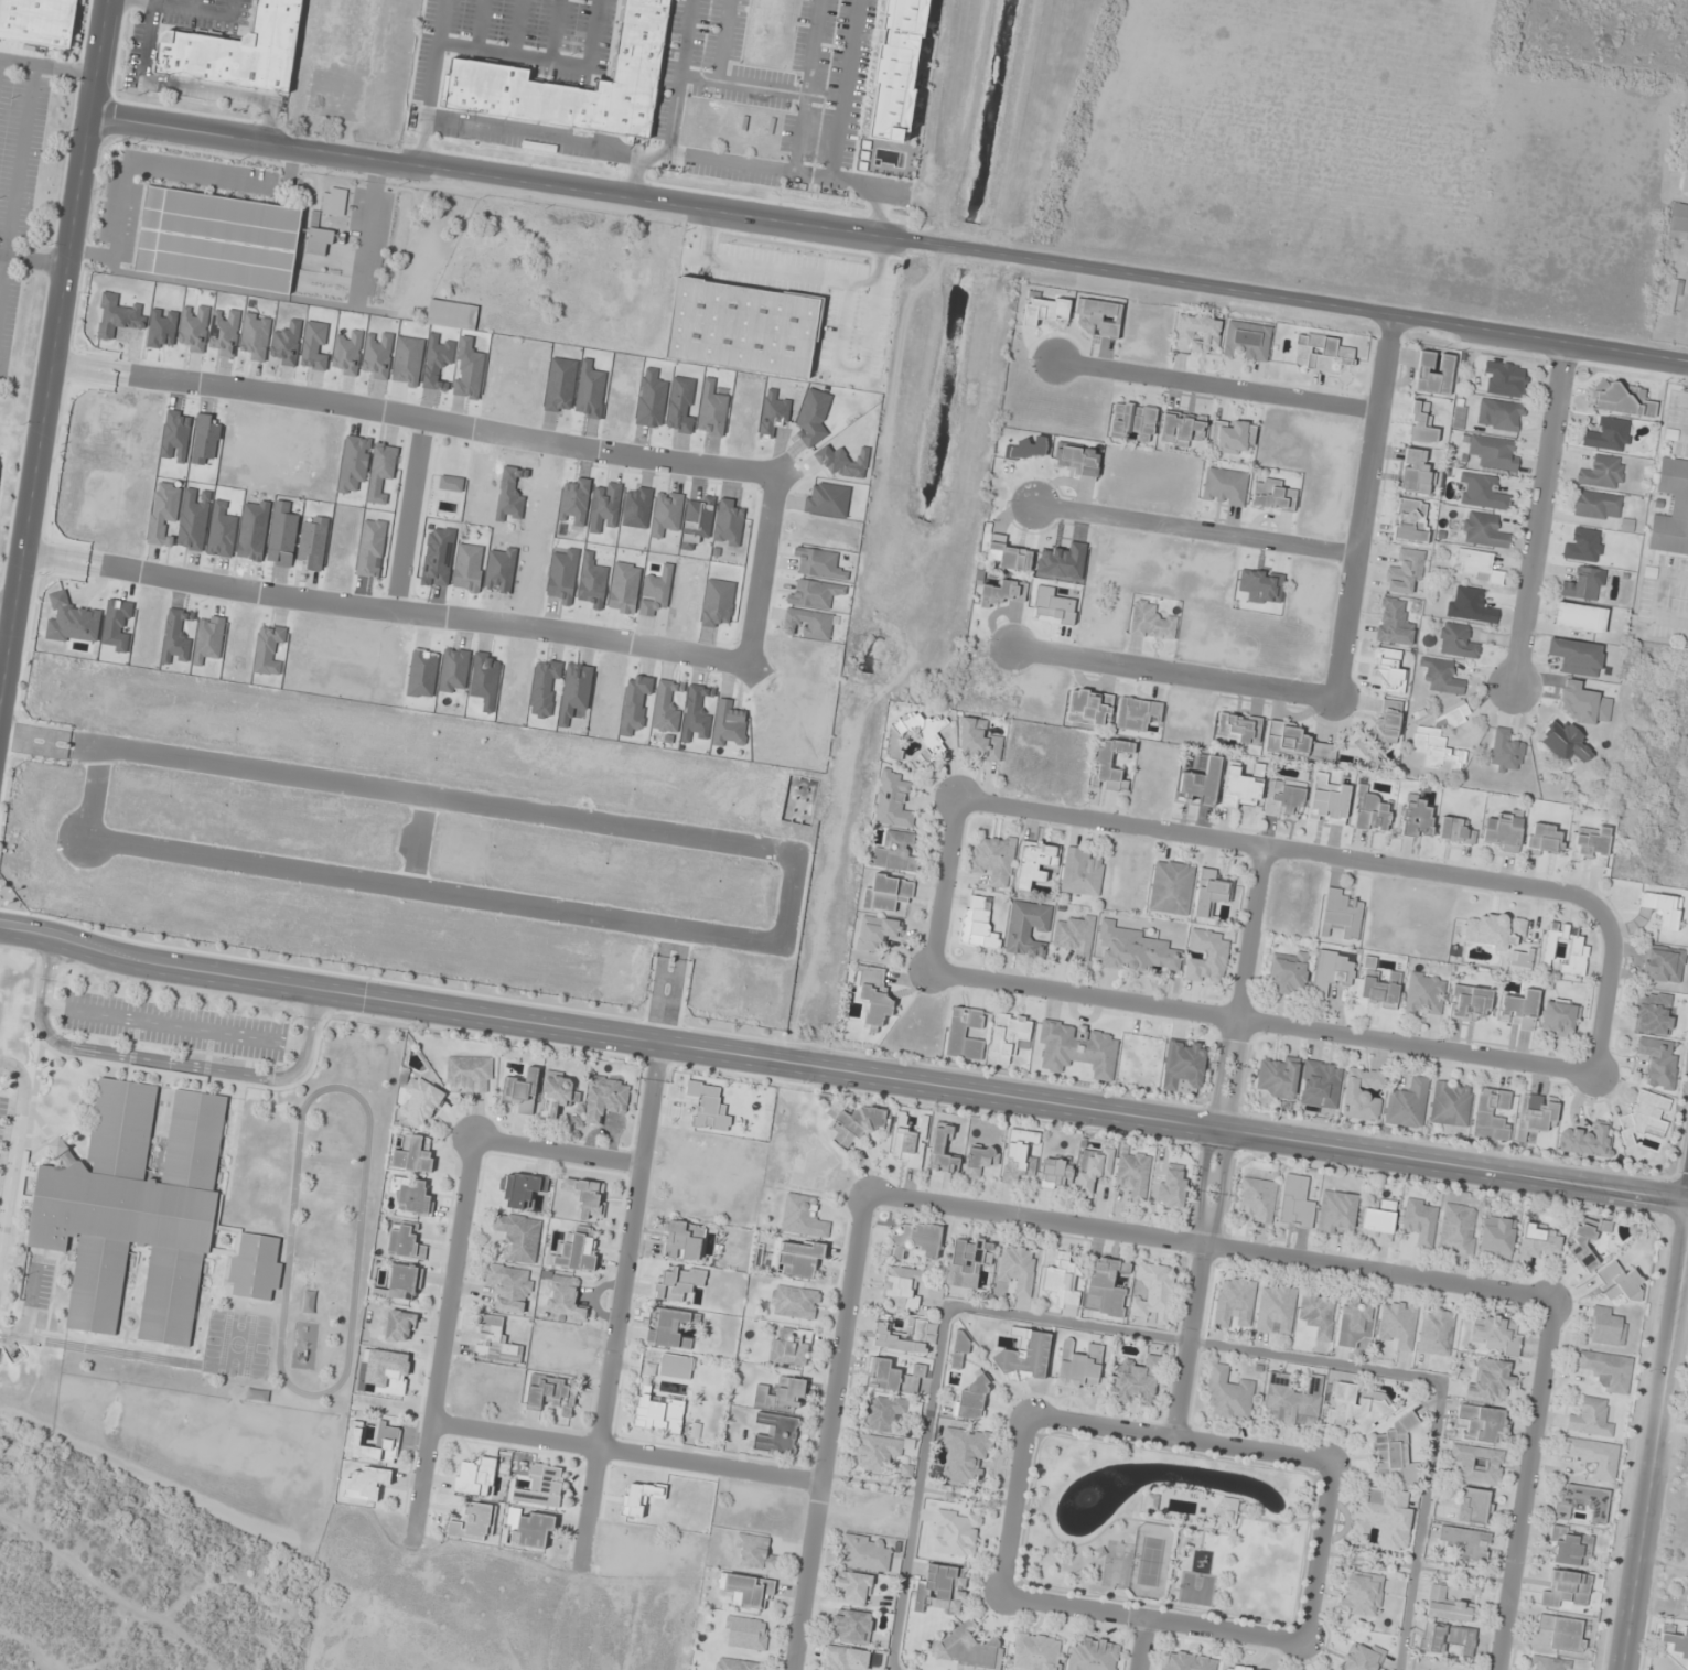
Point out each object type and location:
road: (155, 3)
road: (192, 6)
road: (176, 9)
building: (36, 21)
road: (482, 24)
road: (517, 28)
road: (557, 31)
road: (595, 34)
road: (724, 40)
building: (235, 52)
road: (516, 55)
building: (638, 63)
road: (47, 66)
building: (895, 67)
road: (679, 76)
road: (743, 84)
road: (191, 85)
road: (807, 87)
road: (847, 90)
road: (562, 138)
road: (427, 141)
road: (635, 172)
road: (17, 180)
road: (859, 184)
building: (334, 203)
road: (884, 211)
building: (1679, 222)
road: (708, 234)
road: (889, 235)
building: (218, 240)
building: (319, 243)
road: (31, 259)
road: (877, 260)
road: (781, 271)
building: (1673, 298)
building: (1045, 309)
building: (452, 315)
building: (1098, 319)
building: (120, 328)
building: (739, 330)
building: (1198, 332)
road: (52, 342)
building: (1247, 342)
building: (1321, 353)
road: (851, 369)
building: (1433, 373)
building: (1505, 380)
road: (1216, 387)
building: (1622, 400)
road: (412, 417)
building: (1501, 417)
building: (1133, 422)
building: (1421, 424)
building: (1181, 429)
building: (1609, 435)
building: (1232, 437)
building: (1028, 449)
building: (1494, 453)
building: (1078, 462)
building: (1416, 473)
building: (1603, 473)
building: (1225, 486)
building: (1482, 493)
building: (1273, 496)
road: (1362, 505)
building: (1595, 505)
building: (1680, 505)
road: (408, 515)
road: (1539, 515)
building: (1410, 522)
road: (1194, 529)
building: (1484, 531)
building: (1009, 554)
building: (1477, 567)
road: (761, 568)
building: (1405, 573)
building: (1584, 584)
building: (1004, 593)
road: (6, 604)
building: (1470, 606)
road: (383, 610)
building: (1568, 615)
road: (4, 617)
building: (1151, 623)
building: (1394, 623)
building: (1456, 640)
building: (1576, 657)
road: (1171, 671)
building: (1388, 671)
building: (1442, 676)
building: (1089, 708)
building: (1138, 713)
building: (1386, 723)
building: (1239, 728)
building: (929, 739)
building: (977, 741)
building: (1442, 742)
building: (1295, 743)
building: (1566, 744)
building: (1361, 745)
building: (1506, 751)
building: (1110, 764)
building: (1201, 782)
building: (1239, 787)
building: (1283, 798)
building: (893, 801)
building: (1370, 811)
building: (1417, 819)
building: (1454, 831)
building: (1503, 831)
building: (1542, 839)
road: (1277, 847)
building: (1590, 849)
building: (895, 852)
building: (992, 860)
building: (1035, 863)
building: (1080, 872)
road: (942, 884)
building: (1171, 887)
building: (886, 894)
building: (1211, 894)
building: (1663, 909)
building: (1342, 914)
building: (977, 924)
building: (1025, 928)
building: (875, 933)
building: (1075, 937)
building: (1565, 949)
building: (1136, 950)
building: (1207, 957)
building: (1663, 963)
building: (1332, 971)
building: (1288, 974)
road: (1603, 989)
building: (1379, 990)
building: (1424, 994)
building: (873, 998)
building: (1469, 1002)
building: (1518, 1011)
building: (1654, 1013)
building: (1560, 1017)
road: (1260, 1023)
road: (173, 1024)
building: (965, 1034)
building: (1008, 1037)
building: (1079, 1049)
road: (161, 1062)
building: (1657, 1063)
building: (1184, 1064)
road: (841, 1070)
building: (469, 1075)
building: (1278, 1078)
building: (1321, 1085)
building: (522, 1091)
building: (557, 1093)
building: (1362, 1093)
building: (605, 1099)
building: (420, 1102)
building: (1407, 1105)
building: (1450, 1105)
building: (1492, 1114)
building: (1536, 1116)
building: (1645, 1118)
building: (858, 1123)
road: (1214, 1140)
building: (1587, 1140)
building: (908, 1142)
road: (14, 1145)
building: (943, 1150)
road: (556, 1151)
building: (413, 1154)
building: (1018, 1157)
building: (980, 1162)
building: (1093, 1168)
building: (1056, 1173)
building: (1133, 1175)
building: (1172, 1188)
building: (520, 1189)
building: (410, 1195)
building: (588, 1198)
building: (1257, 1199)
building: (132, 1207)
building: (1336, 1213)
building: (802, 1216)
building: (1378, 1221)
building: (1420, 1222)
building: (1458, 1229)
building: (518, 1237)
building: (1496, 1238)
building: (914, 1240)
building: (1584, 1240)
building: (682, 1241)
building: (1538, 1241)
building: (405, 1242)
road: (1207, 1245)
building: (578, 1250)
building: (798, 1258)
building: (967, 1263)
building: (254, 1267)
building: (1017, 1270)
building: (1061, 1282)
building: (1619, 1283)
building: (509, 1287)
building: (903, 1287)
building: (1105, 1287)
building: (1154, 1293)
building: (565, 1299)
building: (309, 1302)
building: (794, 1303)
building: (1235, 1303)
road: (619, 1305)
building: (1276, 1308)
building: (1318, 1314)
building: (1355, 1322)
building: (1398, 1324)
building: (399, 1327)
building: (670, 1327)
building: (1605, 1327)
building: (1436, 1332)
road: (1154, 1334)
building: (1494, 1335)
building: (901, 1337)
road: (441, 1339)
building: (494, 1343)
building: (791, 1346)
building: (959, 1347)
building: (1024, 1356)
building: (1606, 1369)
building: (894, 1377)
building: (1138, 1381)
building: (1490, 1381)
building: (551, 1393)
building: (781, 1393)
building: (1228, 1394)
building: (972, 1399)
building: (1292, 1400)
building: (1356, 1409)
building: (883, 1413)
building: (658, 1414)
building: (1590, 1419)
building: (1482, 1422)
road: (1099, 1425)
road: (827, 1431)
building: (775, 1433)
building: (387, 1435)
road: (1654, 1436)
road: (624, 1450)
road: (1251, 1450)
building: (877, 1452)
building: (1395, 1453)
building: (966, 1454)
building: (1593, 1457)
building: (1477, 1464)
building: (906, 1472)
building: (474, 1477)
building: (366, 1483)
road: (1523, 1483)
building: (1583, 1502)
road: (1013, 1505)
building: (1474, 1507)
building: (1228, 1511)
building: (1383, 1519)
building: (474, 1523)
park: (1164, 1527)
building: (531, 1531)
building: (955, 1533)
building: (1465, 1541)
building: (1570, 1547)
building: (756, 1552)
road: (1316, 1552)
building: (863, 1553)
building: (852, 1587)
building: (942, 1588)
building: (1567, 1590)
building: (750, 1591)
building: (1361, 1594)
building: (1448, 1606)
road: (1151, 1618)
building: (852, 1626)
building: (1562, 1633)
building: (745, 1634)
building: (1448, 1638)
building: (1675, 1641)
road: (1140, 1644)
building: (968, 1649)
building: (1036, 1652)
building: (1094, 1655)
building: (1363, 1658)
building: (1186, 1661)
building: (1548, 1663)
building: (735, 1664)
building: (1236, 1668)

